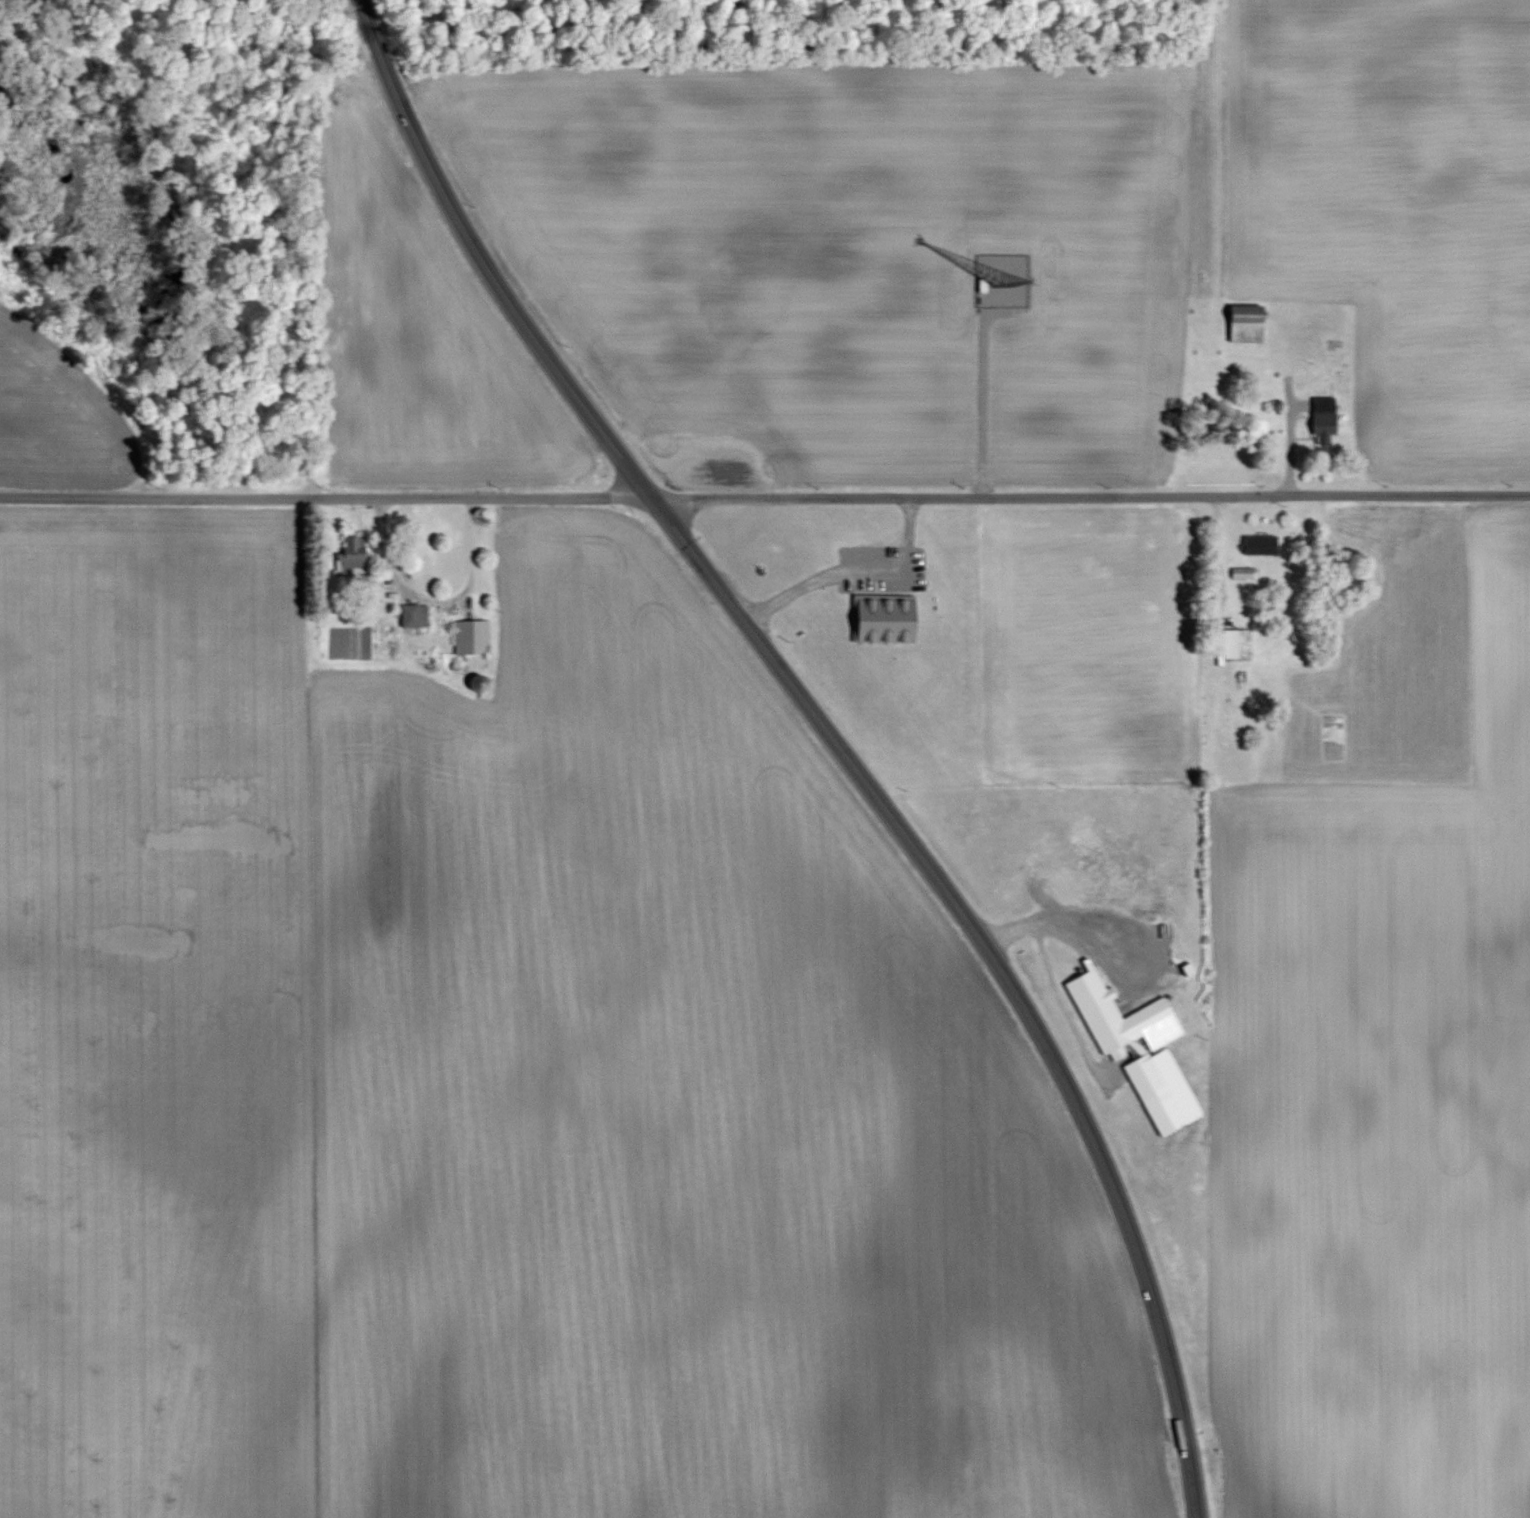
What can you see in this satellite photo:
road: (983, 401)
road: (1293, 438)
road: (328, 495)
road: (1092, 496)
road: (910, 521)
building: (1263, 545)
road: (1221, 548)
building: (355, 556)
parking lot: (882, 568)
road: (881, 570)
road: (791, 591)
road: (437, 600)
building: (416, 616)
building: (886, 616)
building: (474, 637)
building: (1240, 644)
road: (833, 735)
road: (1073, 918)
road: (1065, 1006)
building: (1163, 1054)

